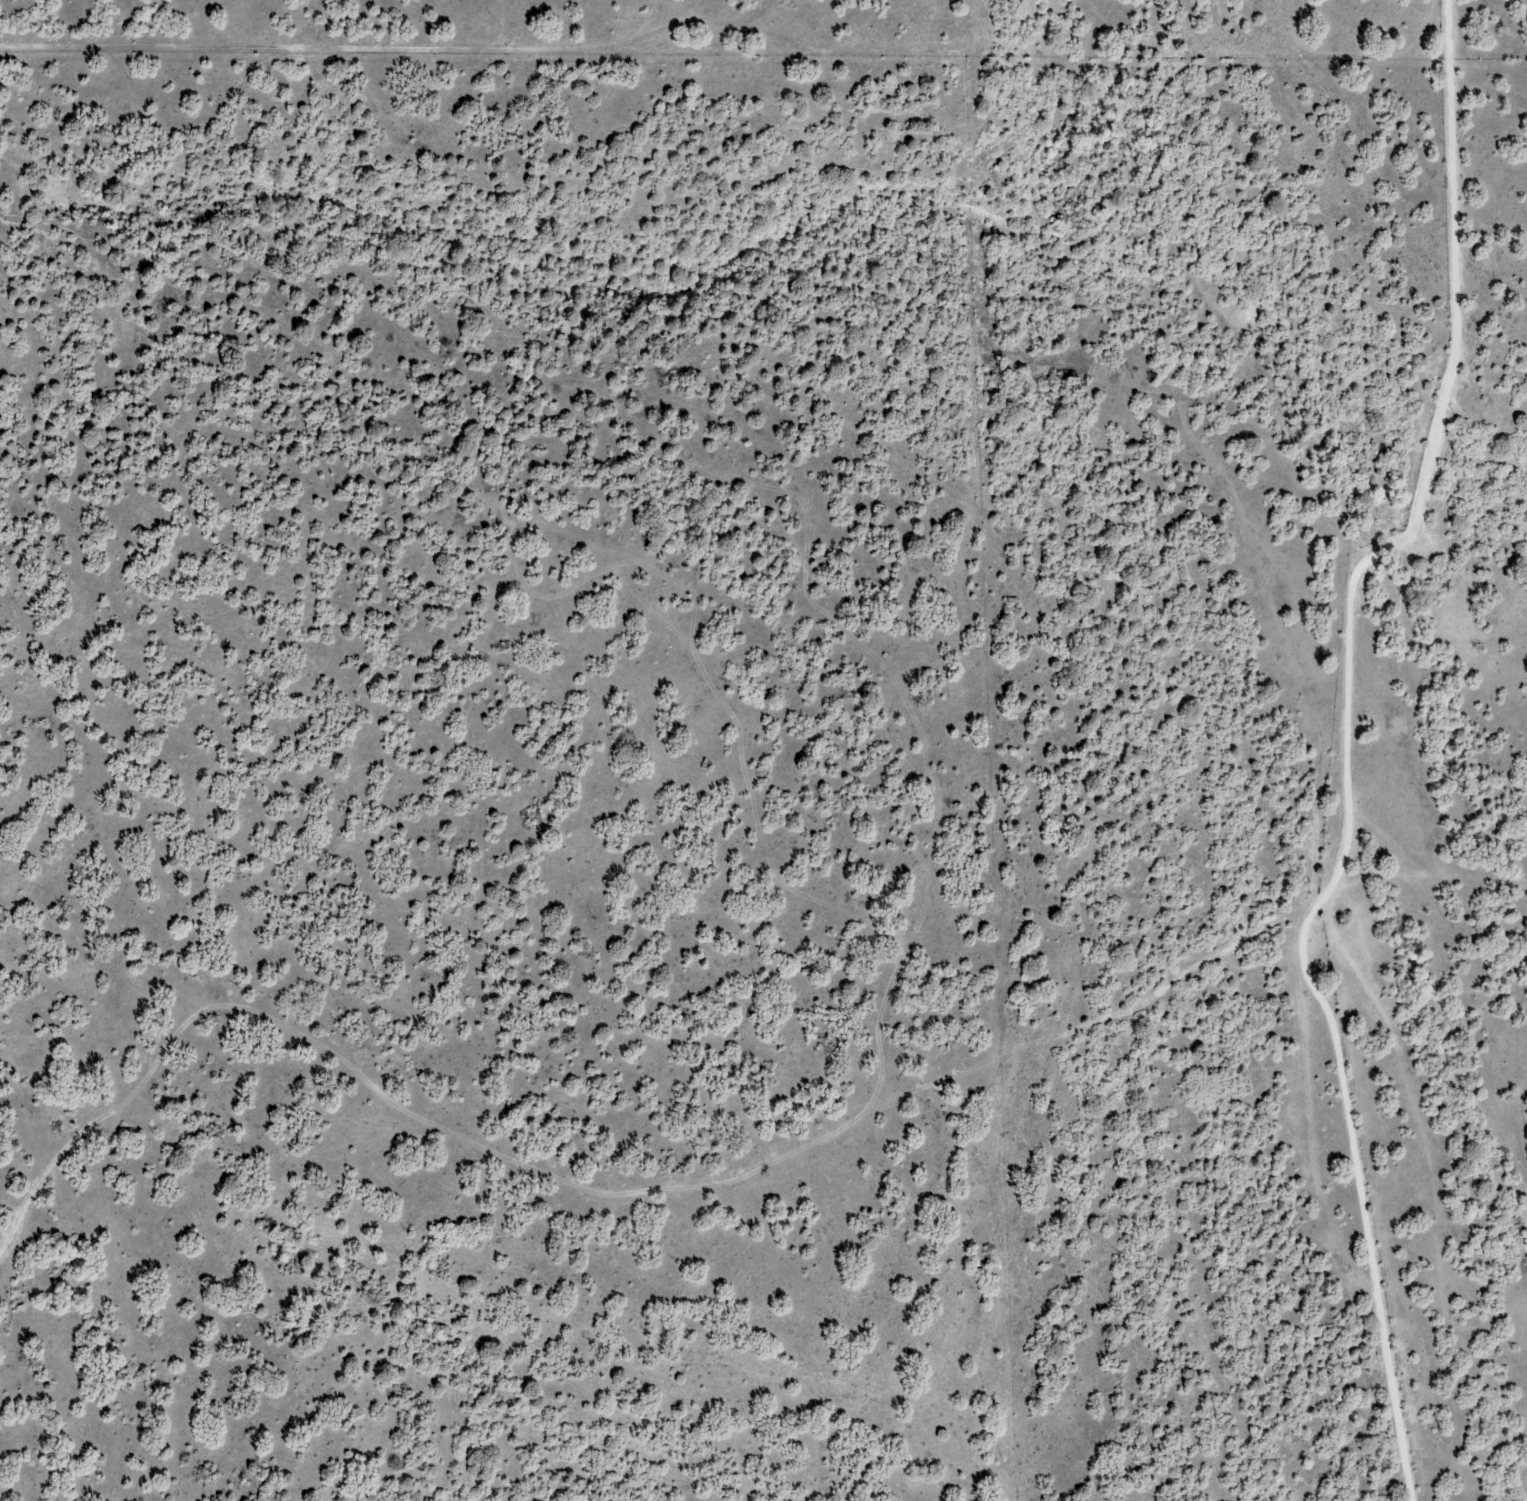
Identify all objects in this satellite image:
road: (1426, 469)
road: (740, 1167)

